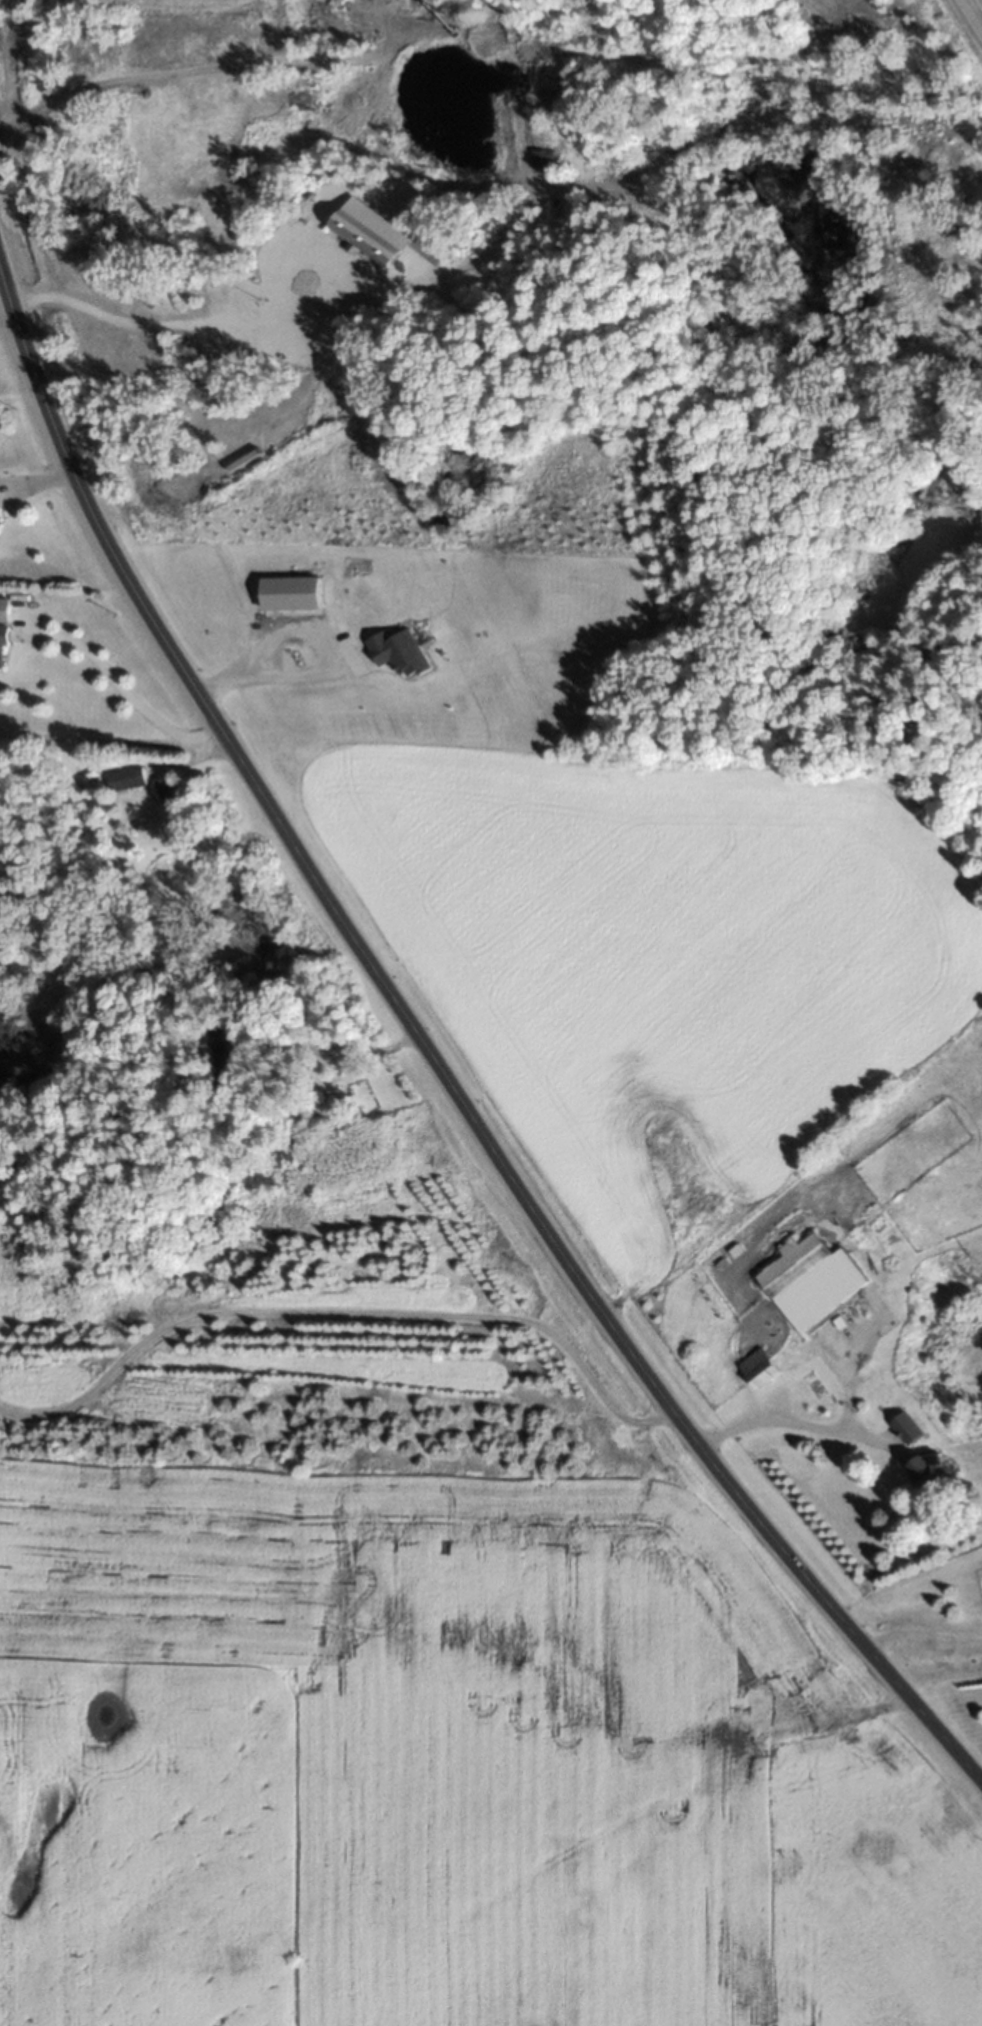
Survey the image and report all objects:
building: (795, 14)
road: (964, 28)
road: (509, 141)
road: (41, 477)
building: (1, 645)
road: (125, 694)
building: (123, 779)
building: (164, 803)
road: (336, 1047)
road: (435, 1065)
building: (808, 1281)
road: (341, 1308)
building: (756, 1369)
road: (847, 1397)
road: (791, 1424)
building: (924, 1468)
road: (923, 1634)

